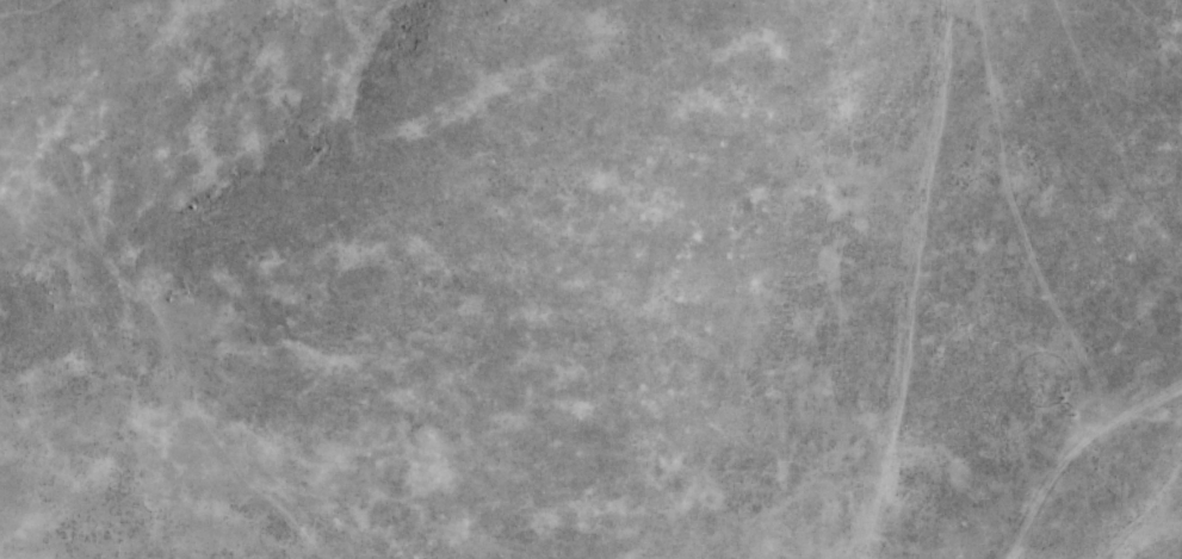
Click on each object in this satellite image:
road: (1079, 479)

